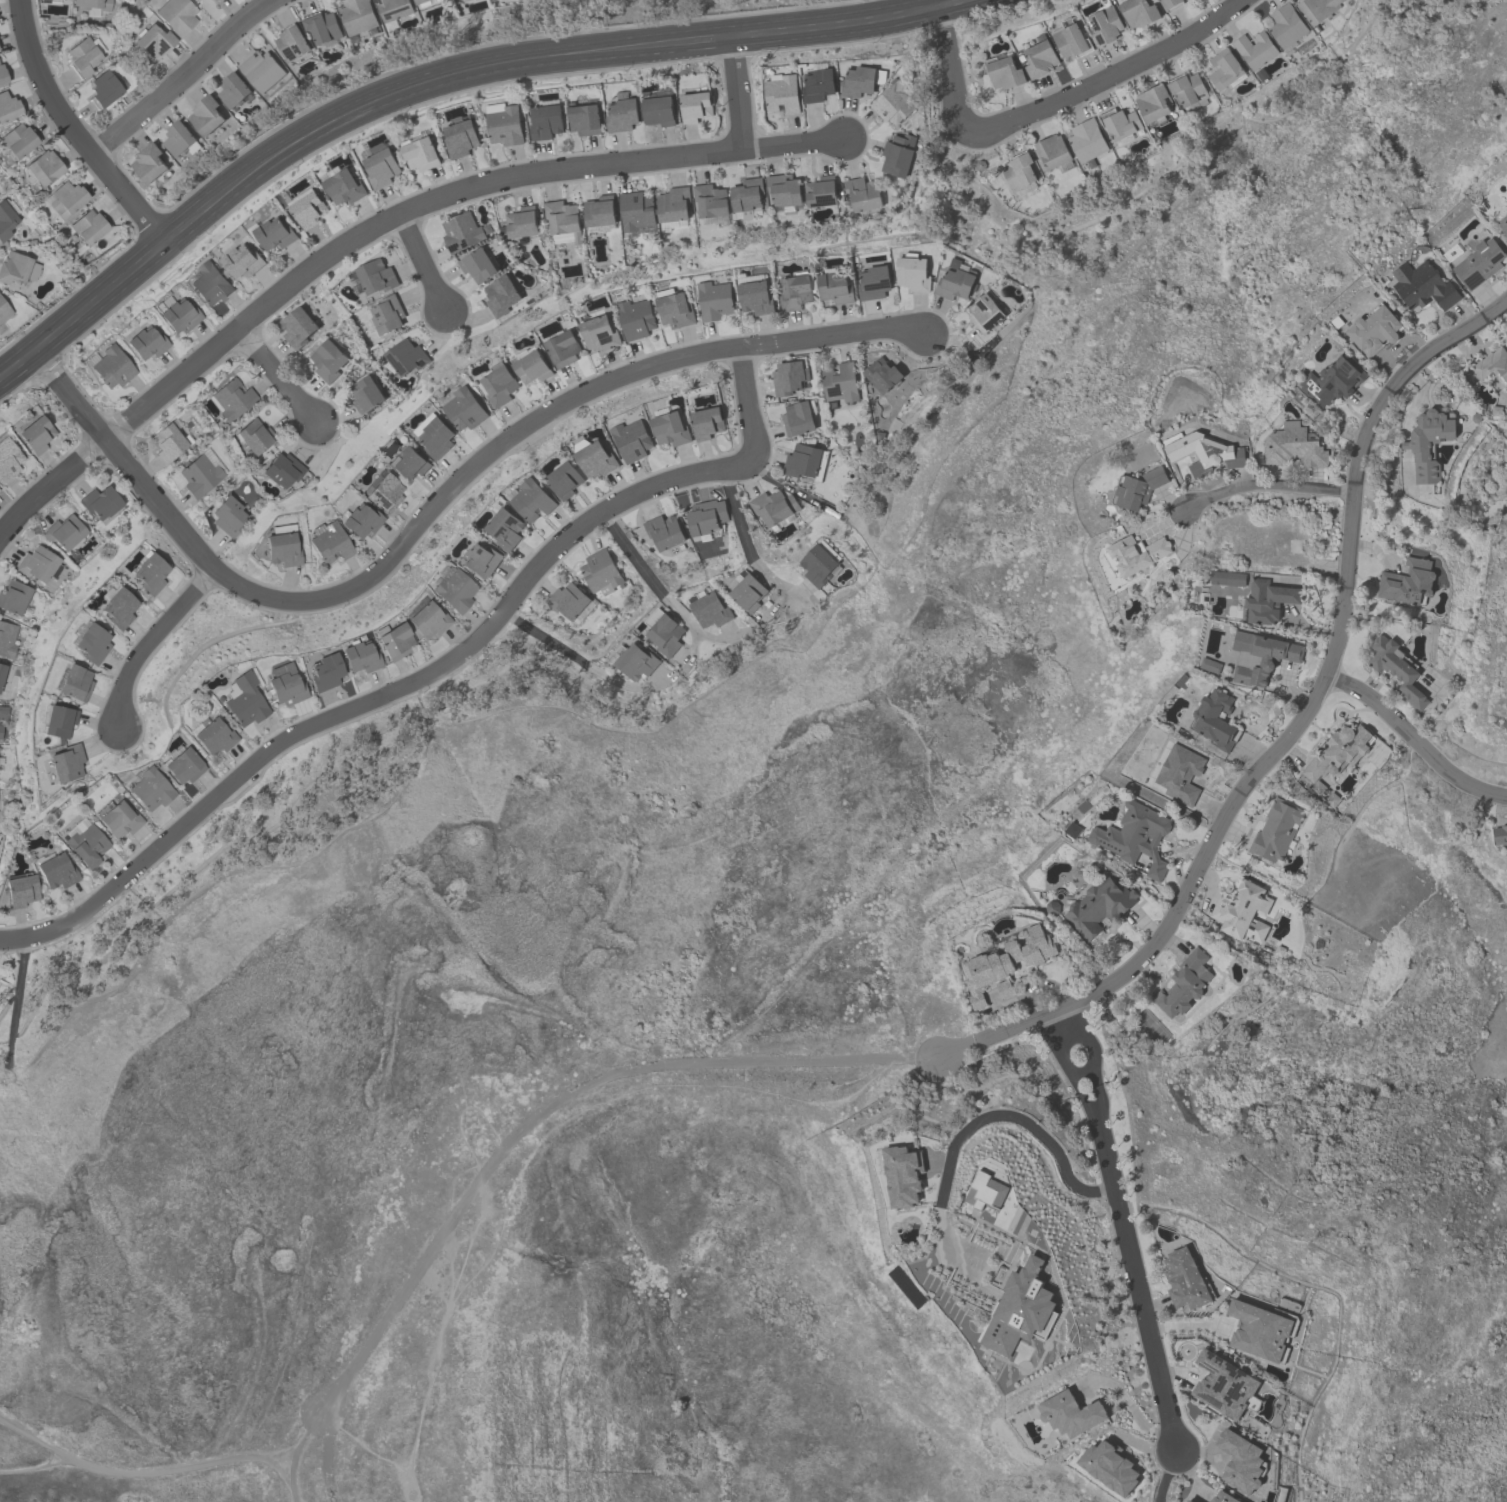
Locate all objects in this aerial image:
building: (199, 1)
building: (425, 2)
building: (89, 3)
building: (1171, 3)
building: (1318, 9)
building: (393, 11)
building: (1139, 12)
building: (176, 15)
building: (357, 16)
building: (1106, 24)
building: (1286, 27)
building: (323, 28)
building: (1071, 40)
building: (152, 41)
building: (292, 42)
building: (1255, 50)
building: (82, 56)
building: (1041, 59)
building: (1224, 69)
building: (261, 70)
building: (1005, 72)
building: (1261, 75)
building: (2, 76)
road: (181, 77)
road: (432, 82)
building: (860, 82)
building: (819, 85)
building: (103, 89)
building: (1187, 89)
building: (234, 91)
road: (735, 94)
building: (782, 94)
building: (895, 103)
building: (1153, 103)
road: (1048, 105)
building: (8, 107)
building: (696, 107)
building: (659, 111)
building: (206, 115)
building: (622, 115)
building: (584, 117)
building: (545, 122)
building: (1120, 123)
building: (504, 124)
road: (73, 129)
building: (461, 139)
building: (17, 140)
building: (180, 140)
building: (1086, 140)
building: (1051, 153)
building: (420, 154)
building: (898, 154)
building: (149, 163)
building: (43, 167)
building: (382, 168)
building: (1019, 174)
building: (343, 186)
building: (783, 190)
building: (821, 192)
building: (862, 194)
building: (65, 198)
building: (746, 199)
building: (710, 201)
building: (1506, 201)
building: (673, 207)
building: (308, 208)
building: (600, 211)
building: (636, 211)
building: (6, 217)
building: (563, 219)
building: (521, 223)
road: (371, 225)
building: (1502, 225)
building: (88, 226)
building: (461, 232)
building: (274, 234)
road: (422, 259)
building: (244, 261)
building: (1479, 264)
building: (477, 265)
building: (17, 268)
building: (913, 273)
building: (377, 277)
building: (956, 281)
building: (874, 283)
building: (211, 284)
building: (1423, 286)
building: (835, 287)
building: (795, 291)
building: (755, 295)
building: (501, 296)
building: (715, 300)
building: (674, 309)
building: (4, 310)
building: (985, 313)
building: (177, 314)
building: (388, 314)
building: (636, 319)
building: (298, 327)
building: (1374, 330)
building: (599, 334)
building: (145, 342)
building: (563, 349)
building: (405, 358)
building: (329, 360)
building: (1492, 365)
building: (111, 367)
building: (532, 368)
road: (276, 374)
building: (789, 378)
building: (1331, 382)
building: (840, 383)
road: (1422, 384)
building: (499, 385)
building: (365, 395)
building: (230, 398)
building: (464, 410)
building: (1496, 411)
road: (538, 418)
building: (799, 418)
building: (707, 423)
building: (670, 429)
building: (35, 434)
building: (252, 436)
building: (436, 438)
building: (633, 441)
building: (167, 442)
building: (1429, 443)
building: (1293, 446)
building: (1204, 454)
building: (8, 459)
road: (123, 460)
building: (596, 460)
building: (805, 462)
building: (408, 464)
building: (282, 469)
building: (199, 475)
building: (565, 481)
road: (1265, 484)
road: (791, 488)
building: (1137, 489)
building: (384, 491)
building: (533, 501)
building: (100, 502)
building: (773, 507)
building: (228, 516)
building: (706, 517)
building: (360, 520)
road: (1165, 524)
road: (745, 528)
building: (506, 530)
building: (64, 532)
building: (664, 532)
road: (742, 532)
building: (328, 541)
building: (282, 545)
road: (1375, 550)
building: (1134, 555)
building: (480, 561)
building: (38, 564)
building: (819, 566)
building: (600, 573)
building: (149, 574)
building: (1228, 579)
road: (651, 580)
building: (1408, 583)
building: (453, 590)
building: (748, 592)
building: (15, 597)
building: (567, 601)
building: (1268, 602)
building: (118, 608)
building: (709, 610)
building: (426, 620)
road: (1304, 628)
building: (664, 633)
road: (718, 637)
building: (7, 639)
road: (149, 639)
building: (392, 640)
building: (91, 644)
road: (698, 650)
building: (359, 657)
building: (1260, 658)
road: (578, 660)
building: (635, 661)
building: (1210, 666)
building: (1396, 668)
building: (2, 671)
building: (324, 672)
road: (429, 673)
road: (1322, 680)
building: (74, 682)
building: (285, 689)
road: (1287, 689)
building: (243, 700)
road: (1248, 706)
road: (1239, 709)
building: (3, 712)
fountain: (1340, 713)
building: (1215, 720)
building: (58, 721)
road: (1274, 729)
building: (0, 730)
building: (213, 736)
road: (1413, 740)
building: (1339, 753)
building: (67, 763)
building: (182, 766)
building: (1180, 774)
building: (150, 788)
building: (1318, 788)
building: (1332, 800)
building: (117, 818)
building: (1073, 831)
building: (1276, 833)
building: (1501, 836)
building: (1135, 837)
building: (84, 842)
road: (1183, 849)
building: (54, 870)
building: (20, 890)
building: (1099, 906)
building: (1052, 908)
building: (1242, 912)
road: (1129, 941)
building: (1279, 951)
building: (1005, 964)
building: (1024, 979)
building: (1184, 985)
road: (987, 1036)
road: (1092, 1054)
road: (1064, 1065)
road: (557, 1101)
road: (971, 1125)
road: (538, 1141)
building: (900, 1177)
building: (983, 1193)
building: (1184, 1278)
road: (1134, 1280)
road: (421, 1293)
building: (1018, 1312)
road: (1190, 1324)
building: (1258, 1329)
road: (1178, 1372)
building: (1225, 1387)
road: (1131, 1407)
building: (1070, 1416)
road: (371, 1444)
road: (1144, 1447)
road: (325, 1454)
building: (1241, 1461)
road: (32, 1465)
building: (1110, 1469)
road: (1189, 1473)
road: (166, 1474)
road: (1165, 1476)
road: (288, 1480)
building: (1223, 1498)
building: (1188, 1501)

